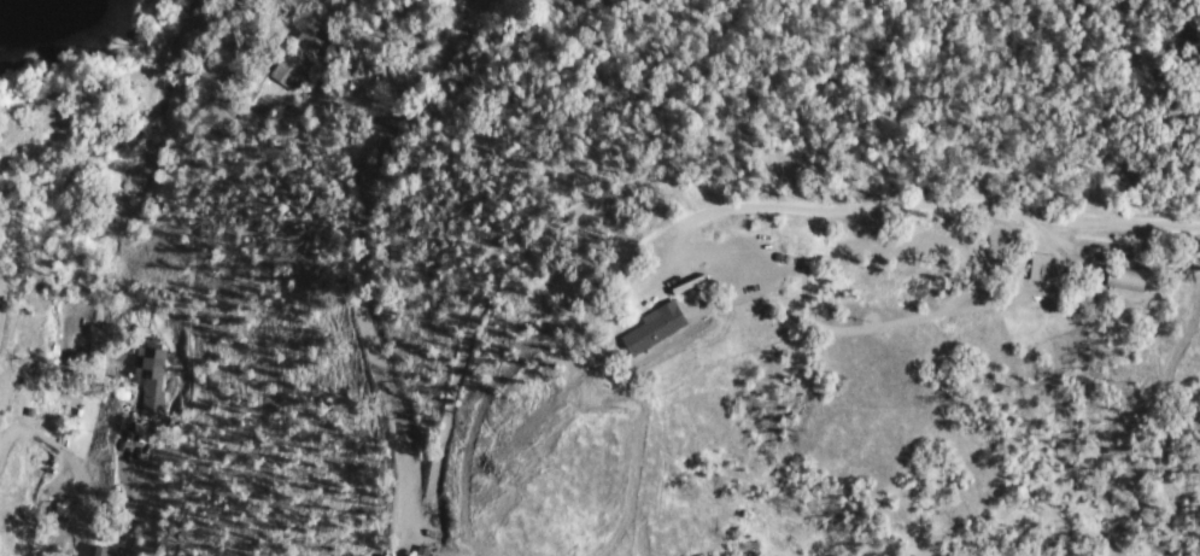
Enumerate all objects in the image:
building: (299, 59)
road: (229, 64)
road: (113, 77)
road: (929, 203)
building: (1146, 248)
building: (1059, 271)
building: (1131, 279)
building: (666, 326)
building: (154, 379)
road: (10, 437)
road: (52, 446)
road: (101, 532)
building: (109, 552)

